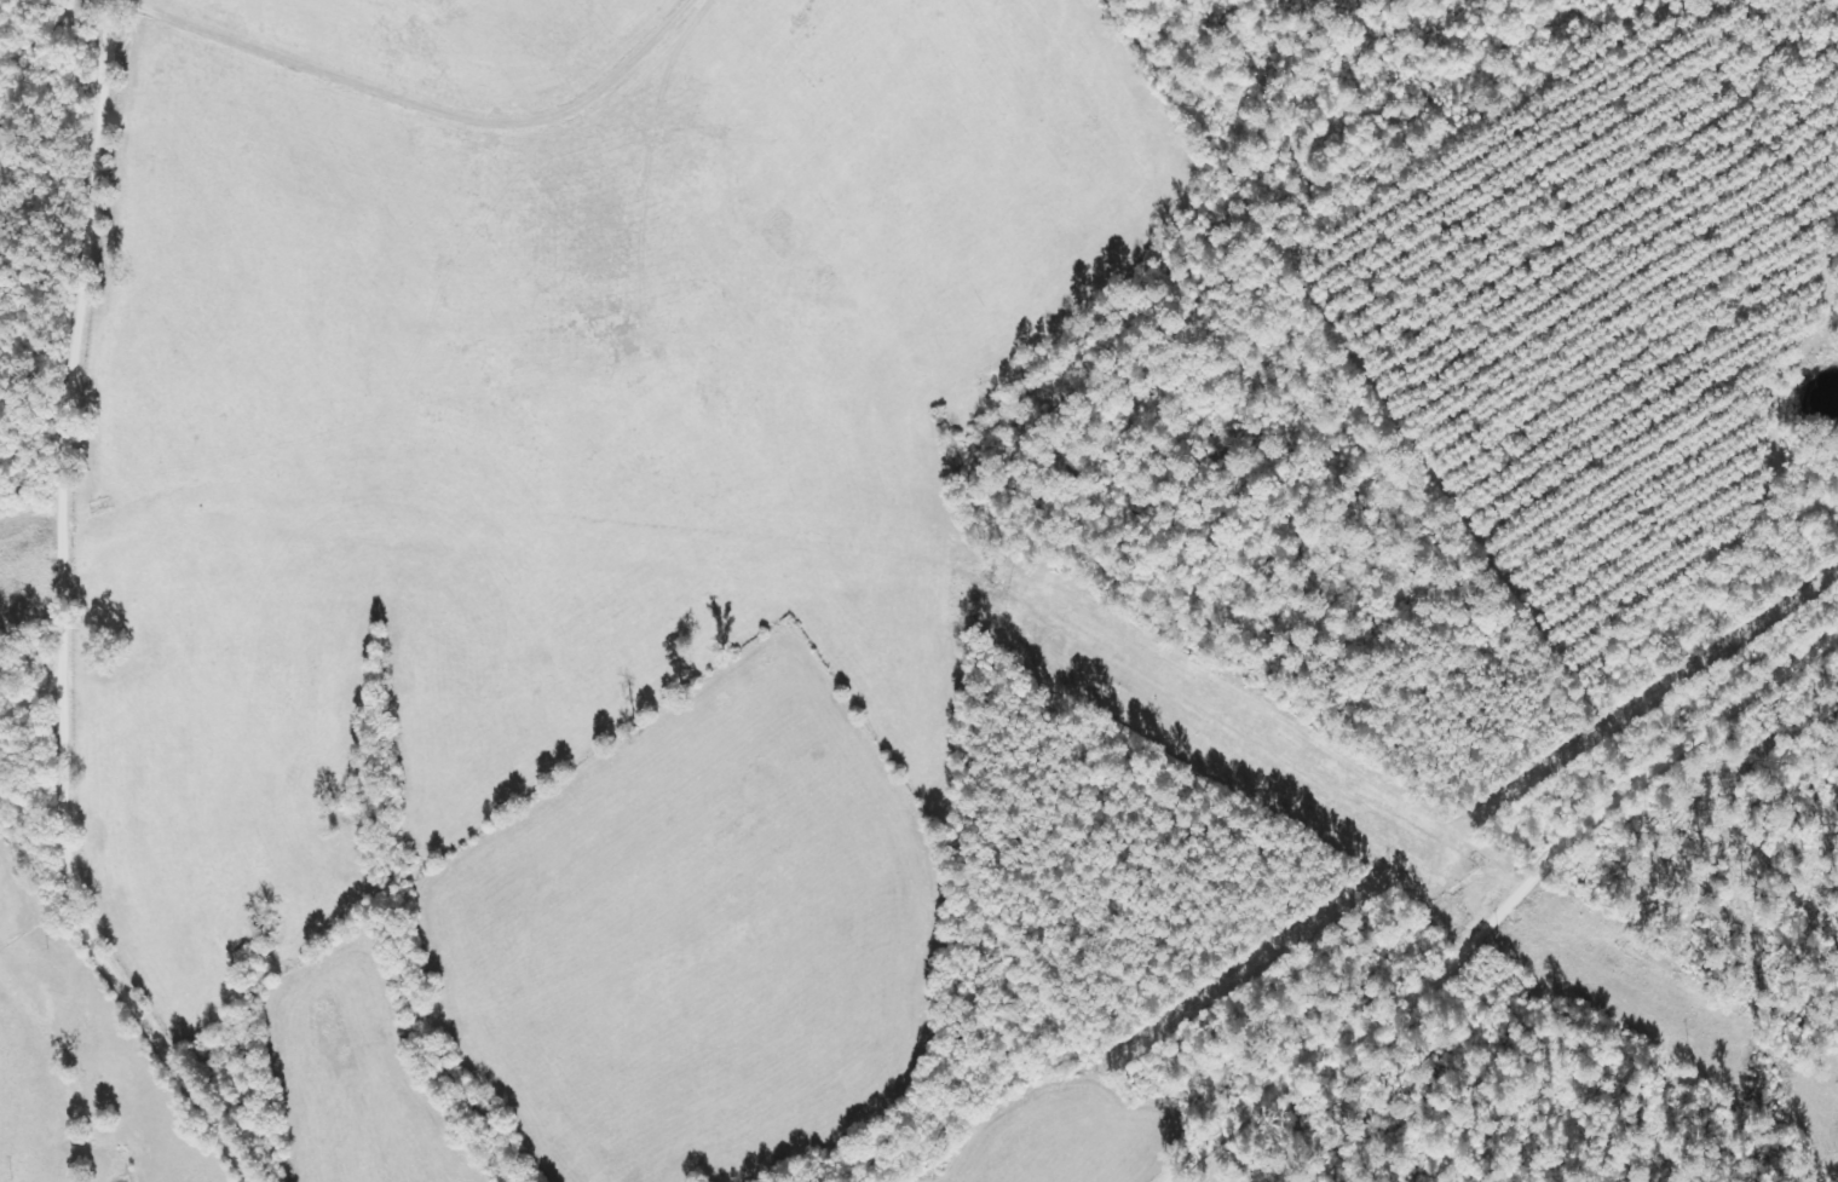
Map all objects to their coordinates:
road: (61, 612)
road: (29, 691)
road: (1493, 893)

